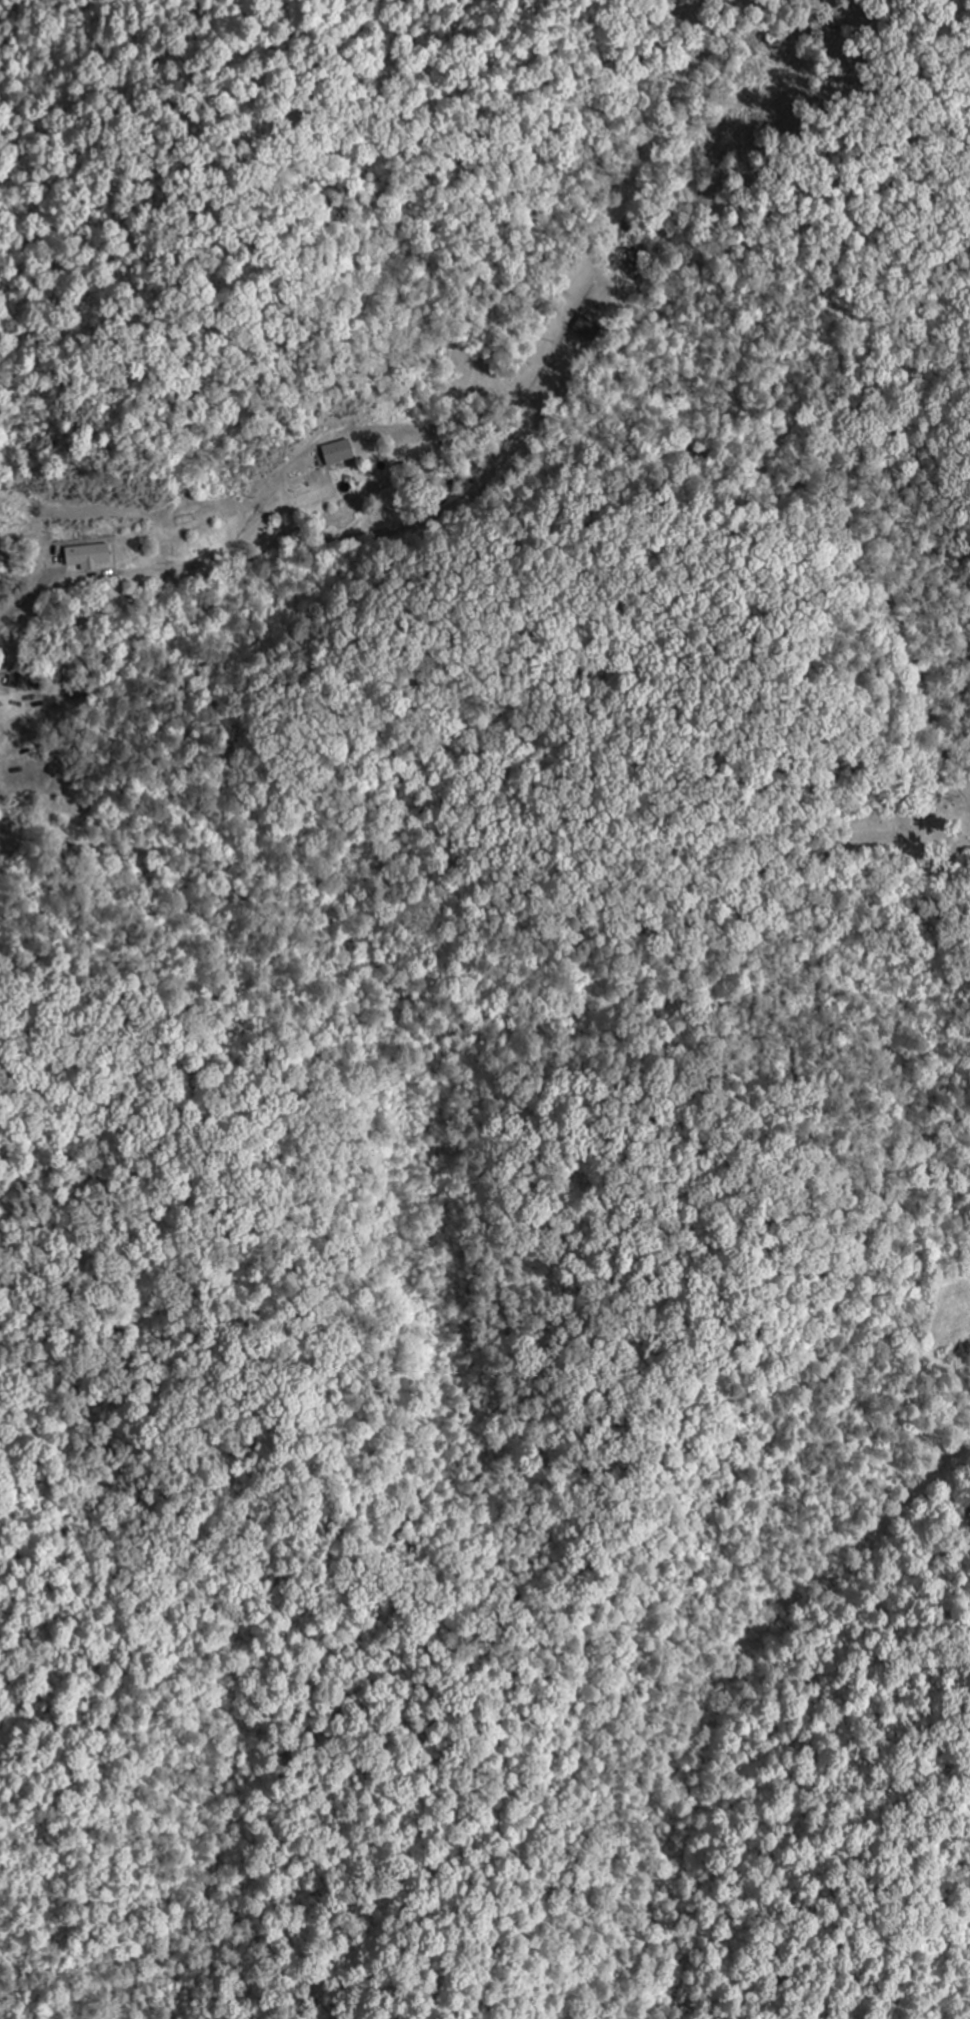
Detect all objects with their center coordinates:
building: (587, 329)
building: (335, 453)
building: (88, 556)

